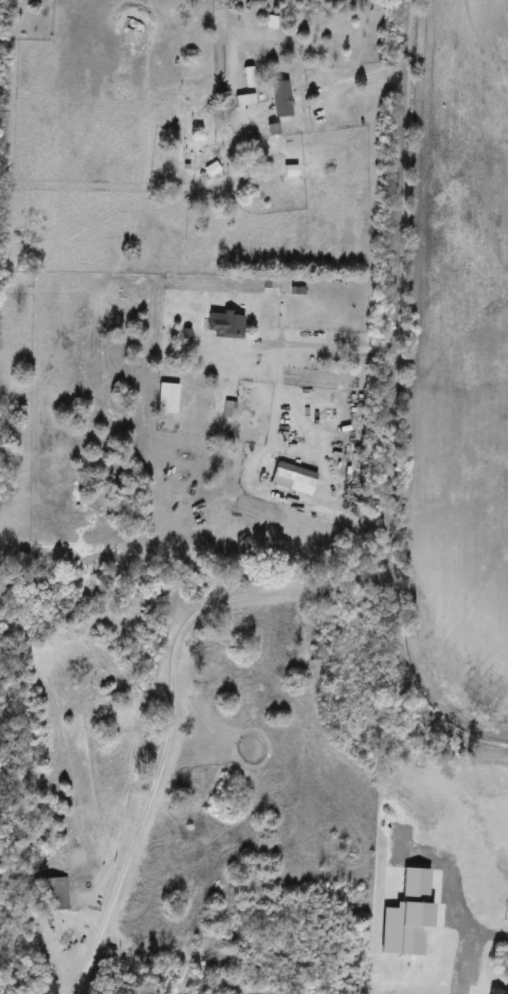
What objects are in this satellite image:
building: (270, 22)
building: (249, 76)
road: (359, 76)
building: (243, 100)
building: (262, 121)
building: (211, 170)
building: (290, 173)
building: (221, 324)
building: (170, 398)
road: (294, 408)
road: (391, 409)
road: (169, 704)
road: (447, 887)

